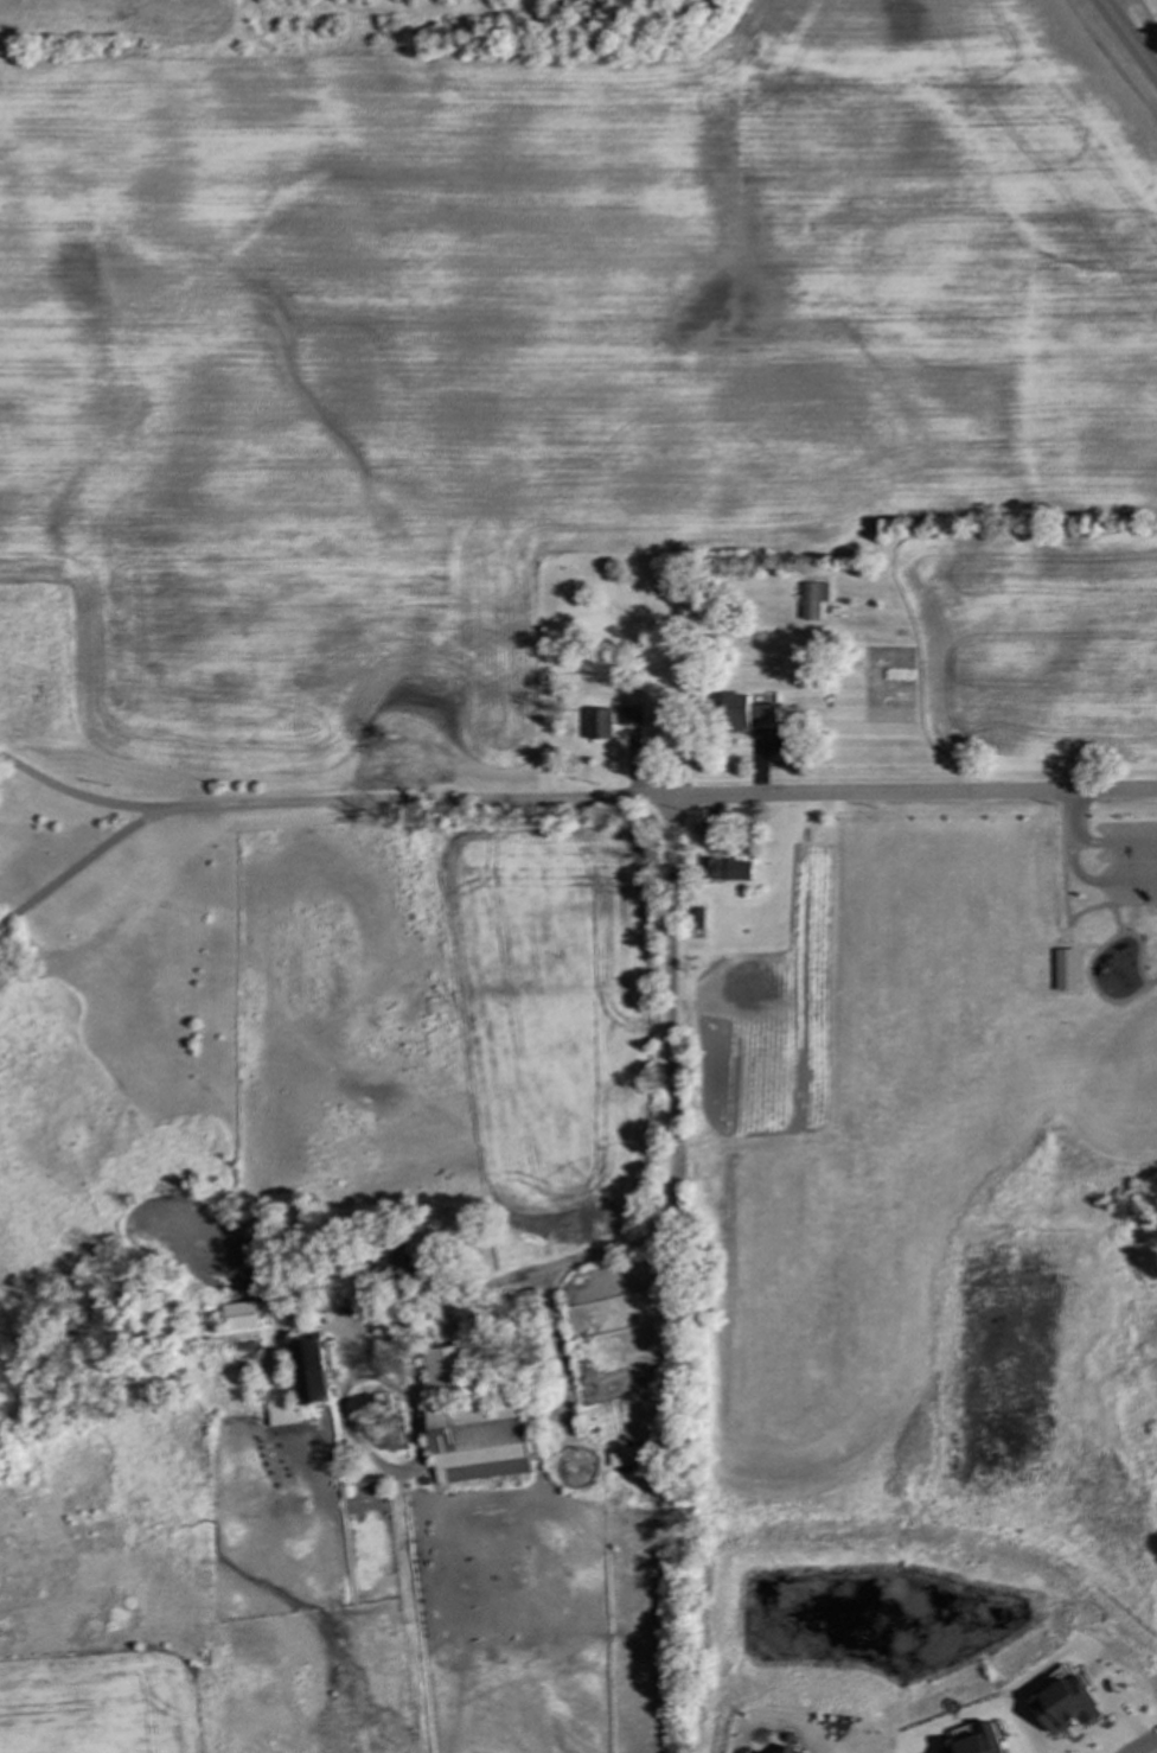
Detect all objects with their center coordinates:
road: (1146, 15)
road: (1126, 39)
building: (813, 600)
building: (749, 714)
building: (600, 725)
road: (573, 792)
road: (1072, 815)
road: (1070, 858)
road: (79, 866)
building: (728, 871)
building: (1066, 970)
road: (561, 1263)
building: (244, 1318)
building: (449, 1372)
building: (319, 1375)
building: (288, 1417)
building: (482, 1440)
building: (627, 1461)
road: (1144, 1745)

